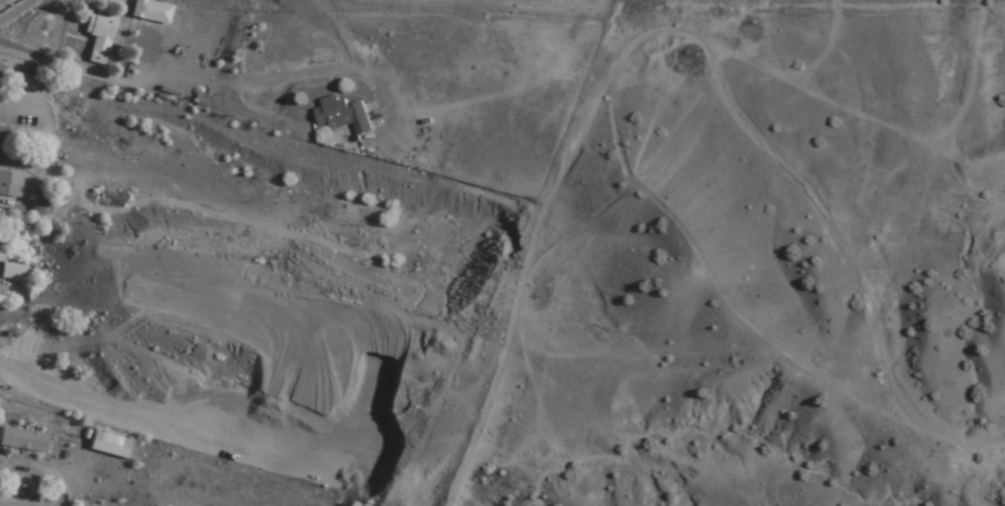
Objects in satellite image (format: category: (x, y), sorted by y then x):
building: (150, 12)
road: (48, 18)
building: (97, 37)
building: (341, 115)
building: (3, 183)
building: (39, 209)
road: (84, 259)
building: (22, 440)
building: (116, 447)
road: (442, 494)

